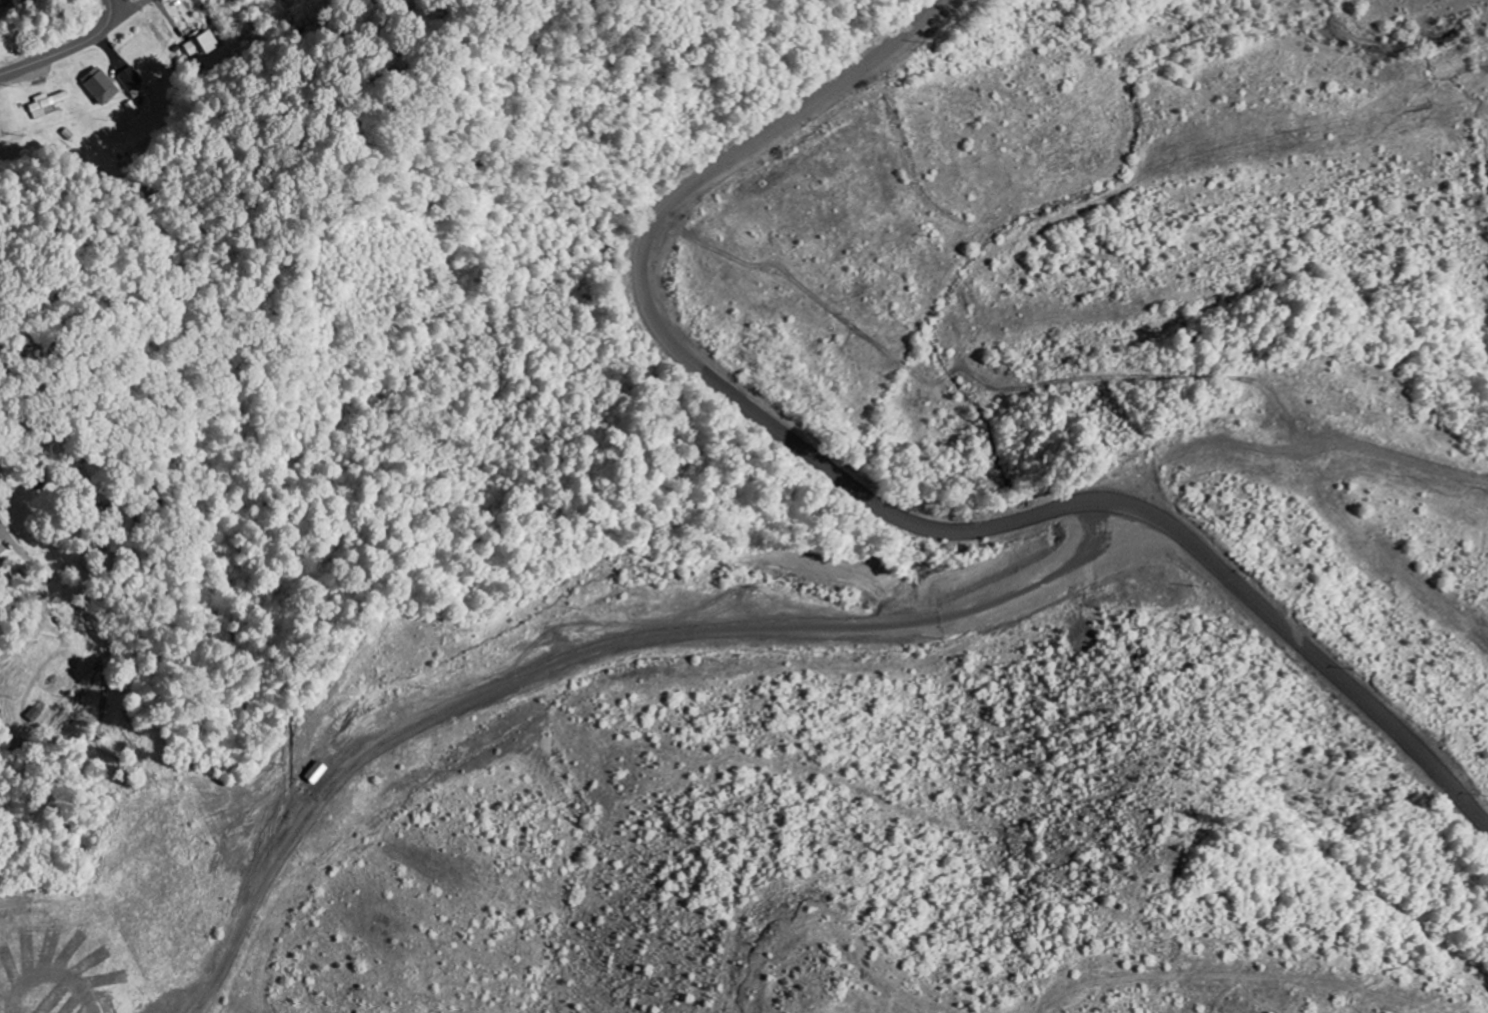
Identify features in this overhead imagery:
road: (112, 7)
building: (199, 44)
road: (67, 50)
building: (130, 79)
building: (99, 86)
building: (45, 104)
road: (894, 512)
building: (32, 715)
building: (317, 773)

